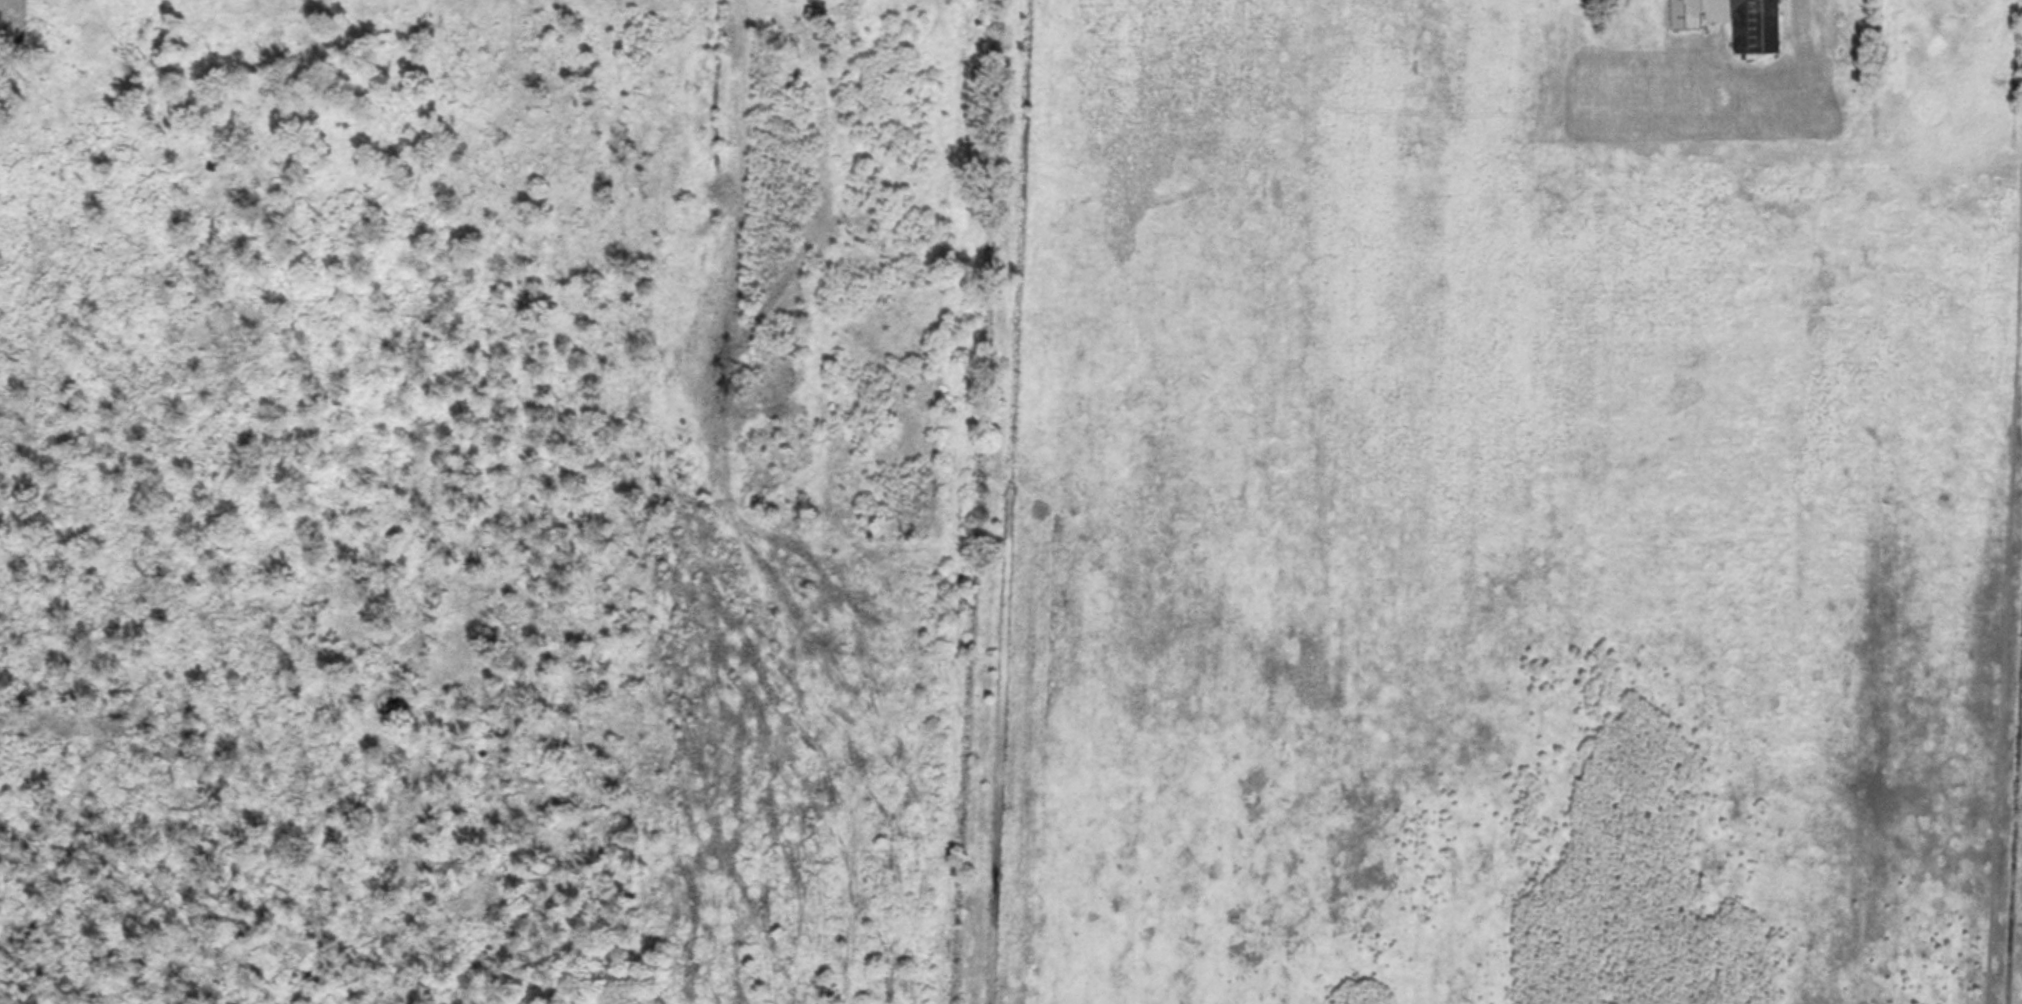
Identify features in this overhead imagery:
building: (1733, 20)

